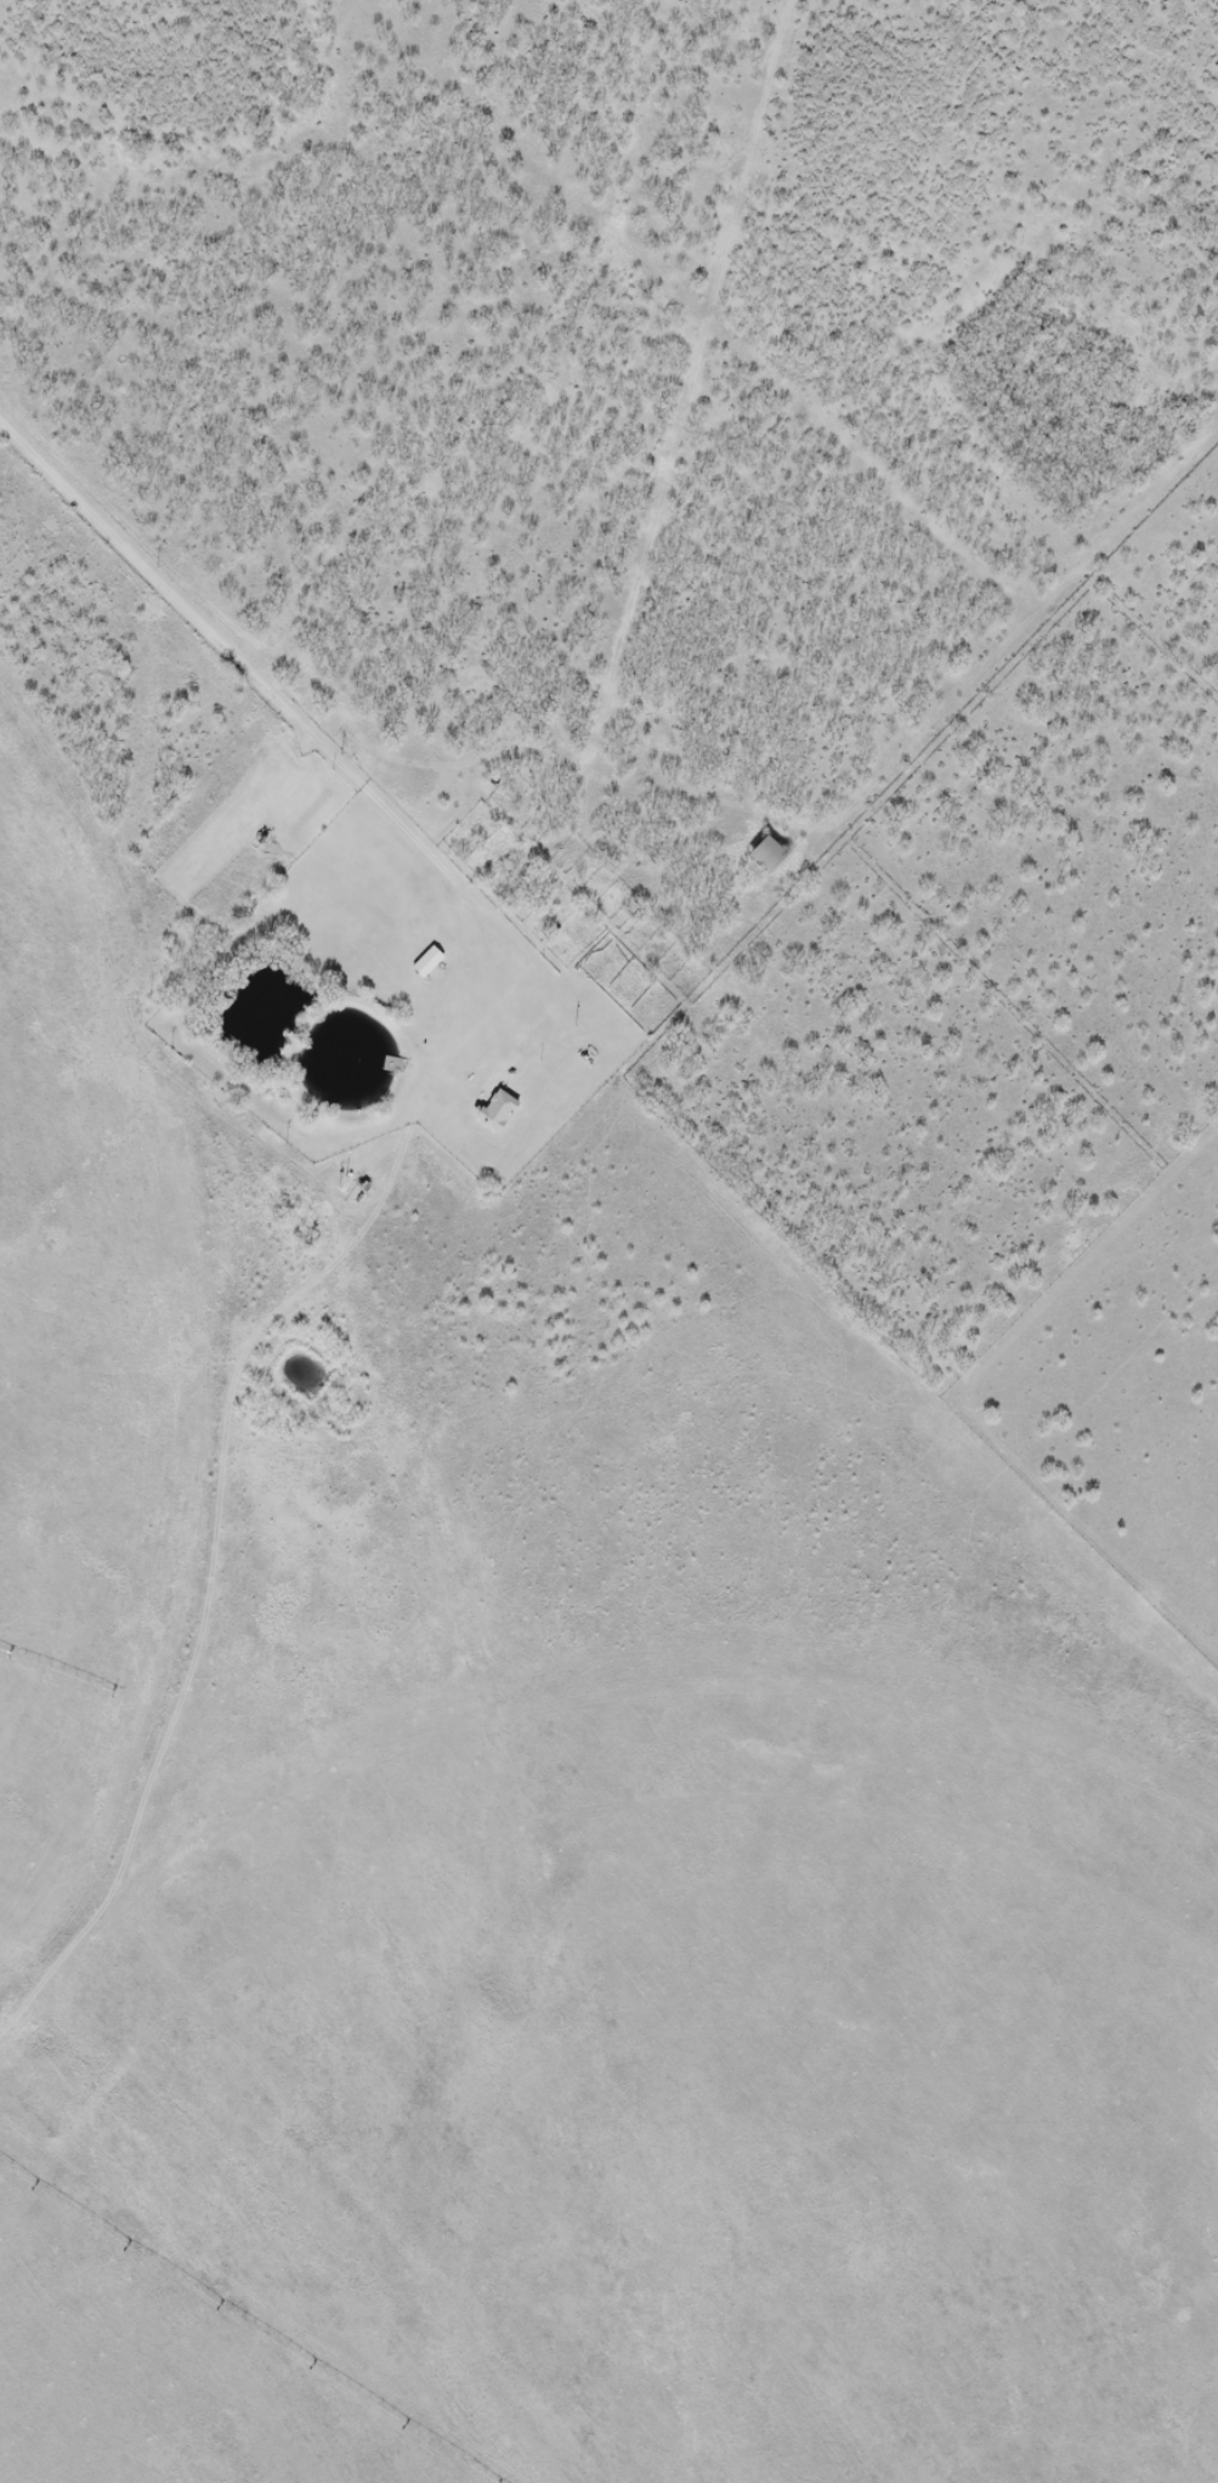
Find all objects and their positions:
road: (1185, 36)
road: (311, 743)
building: (769, 858)
building: (426, 965)

